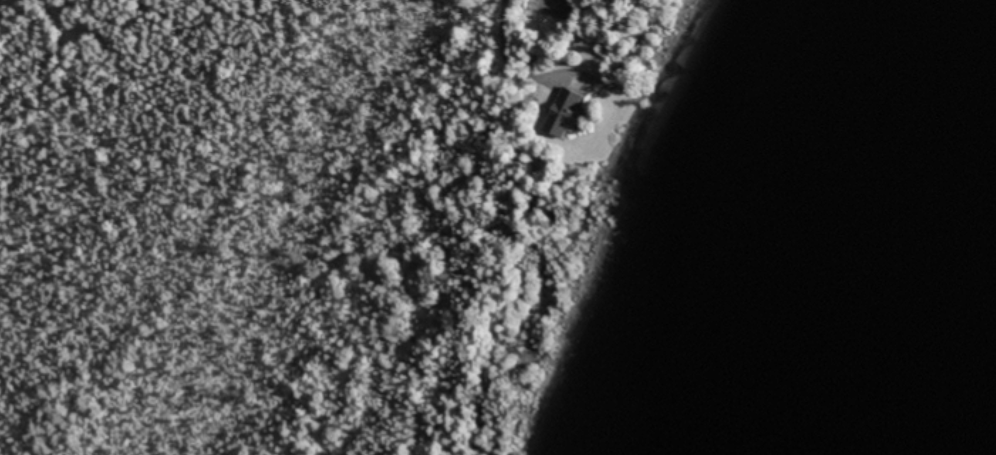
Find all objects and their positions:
road: (509, 23)
building: (561, 112)

